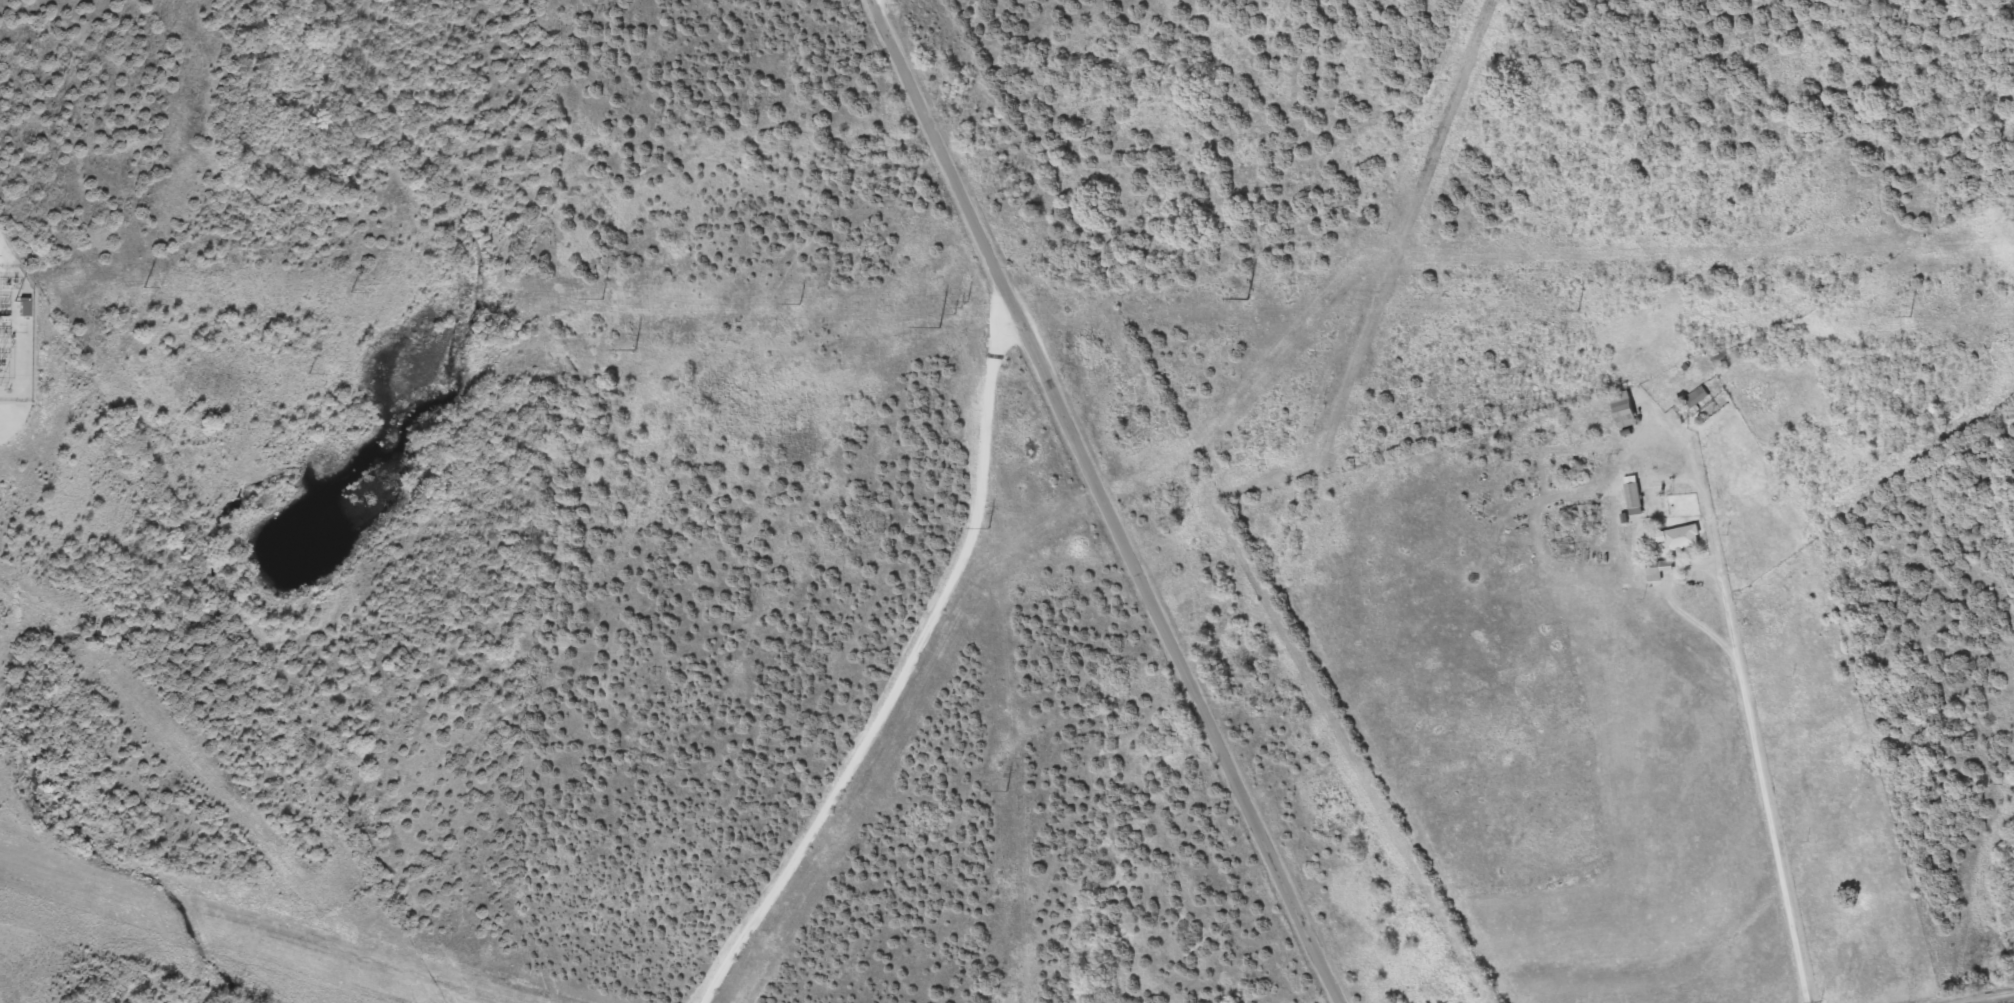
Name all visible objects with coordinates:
building: (27, 307)
power substation: (15, 328)
building: (1693, 396)
building: (1619, 409)
building: (1628, 494)
road: (1111, 502)
building: (1677, 537)
building: (1649, 571)
road: (1669, 601)
road: (904, 670)
road: (1748, 714)
road: (1551, 901)
road: (2010, 1002)

